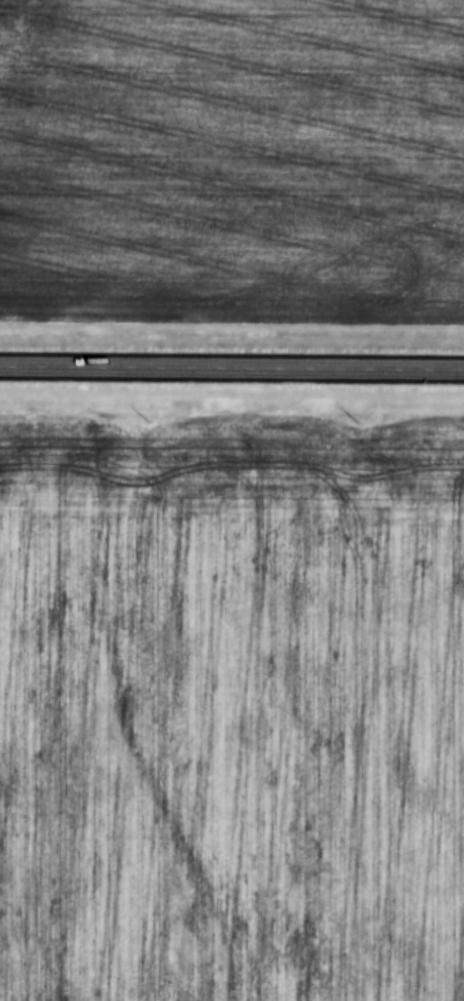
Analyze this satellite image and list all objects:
road: (232, 368)
crop: (231, 710)

